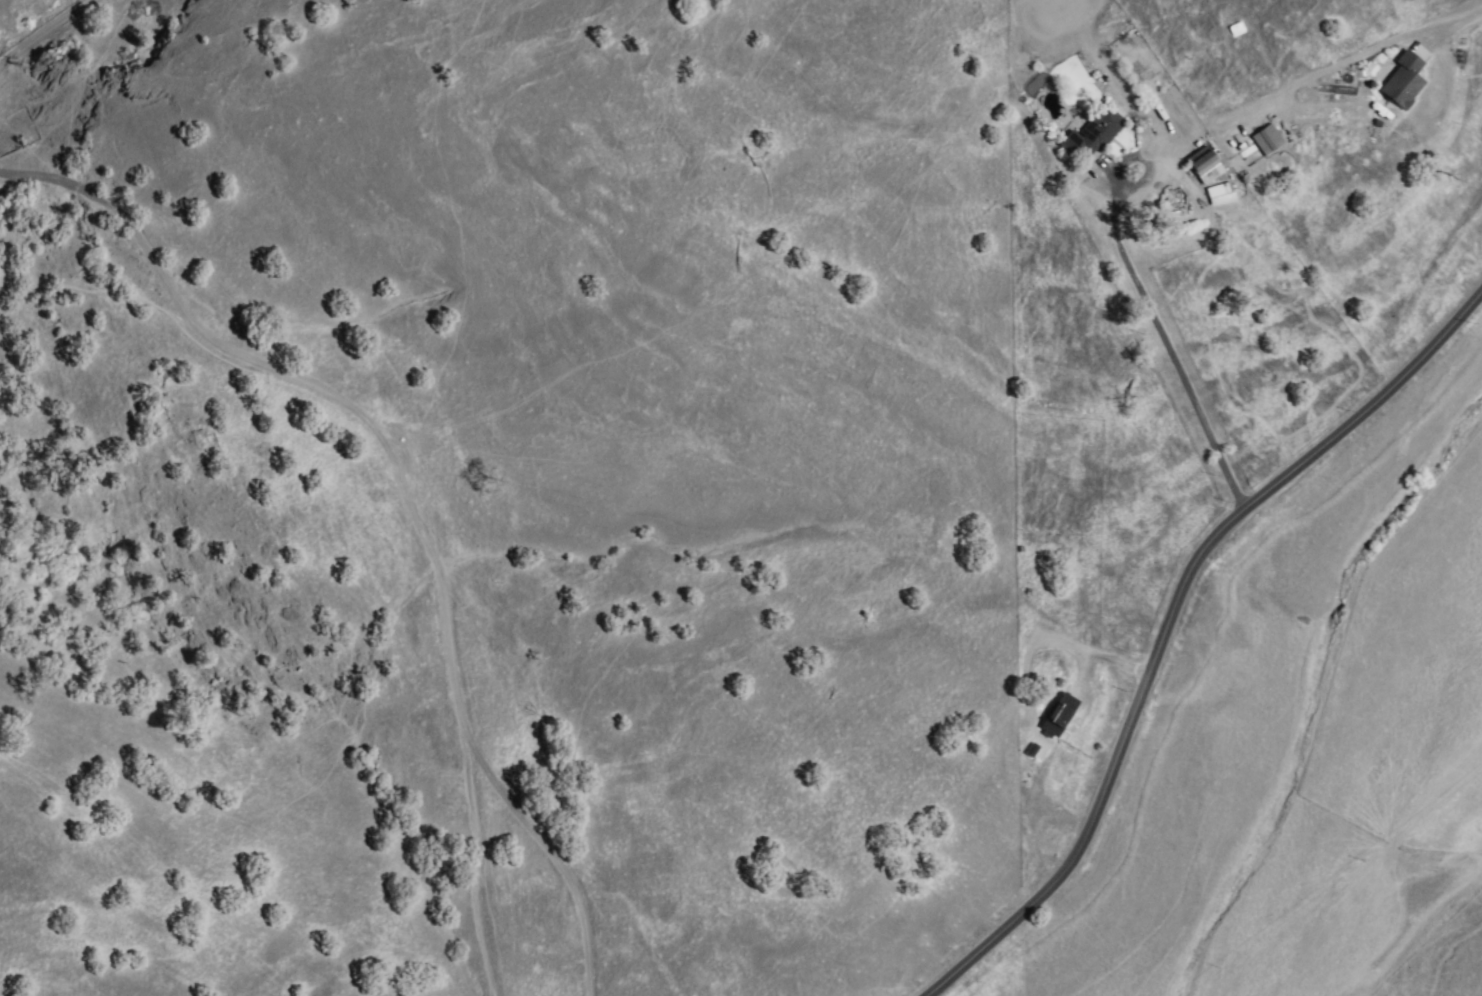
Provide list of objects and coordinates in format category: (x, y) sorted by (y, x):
road: (1460, 22)
road: (45, 33)
building: (1404, 82)
building: (1093, 135)
building: (1263, 140)
building: (1207, 165)
building: (1222, 195)
road: (1168, 341)
road: (399, 495)
road: (1170, 620)
building: (1058, 715)

